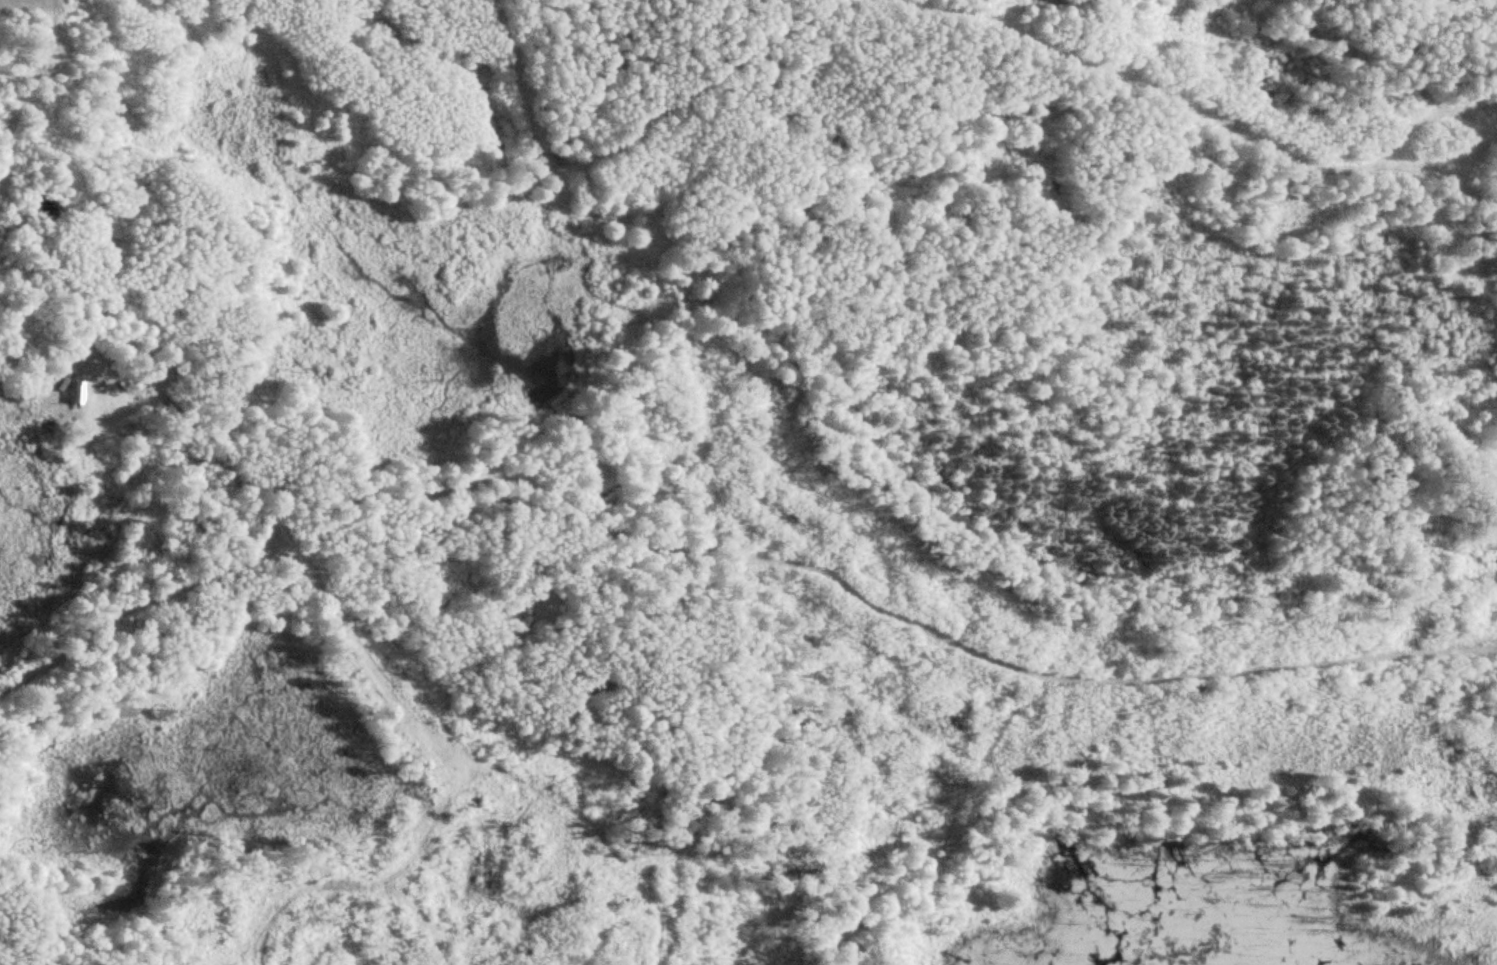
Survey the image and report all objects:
building: (74, 379)
road: (219, 569)

